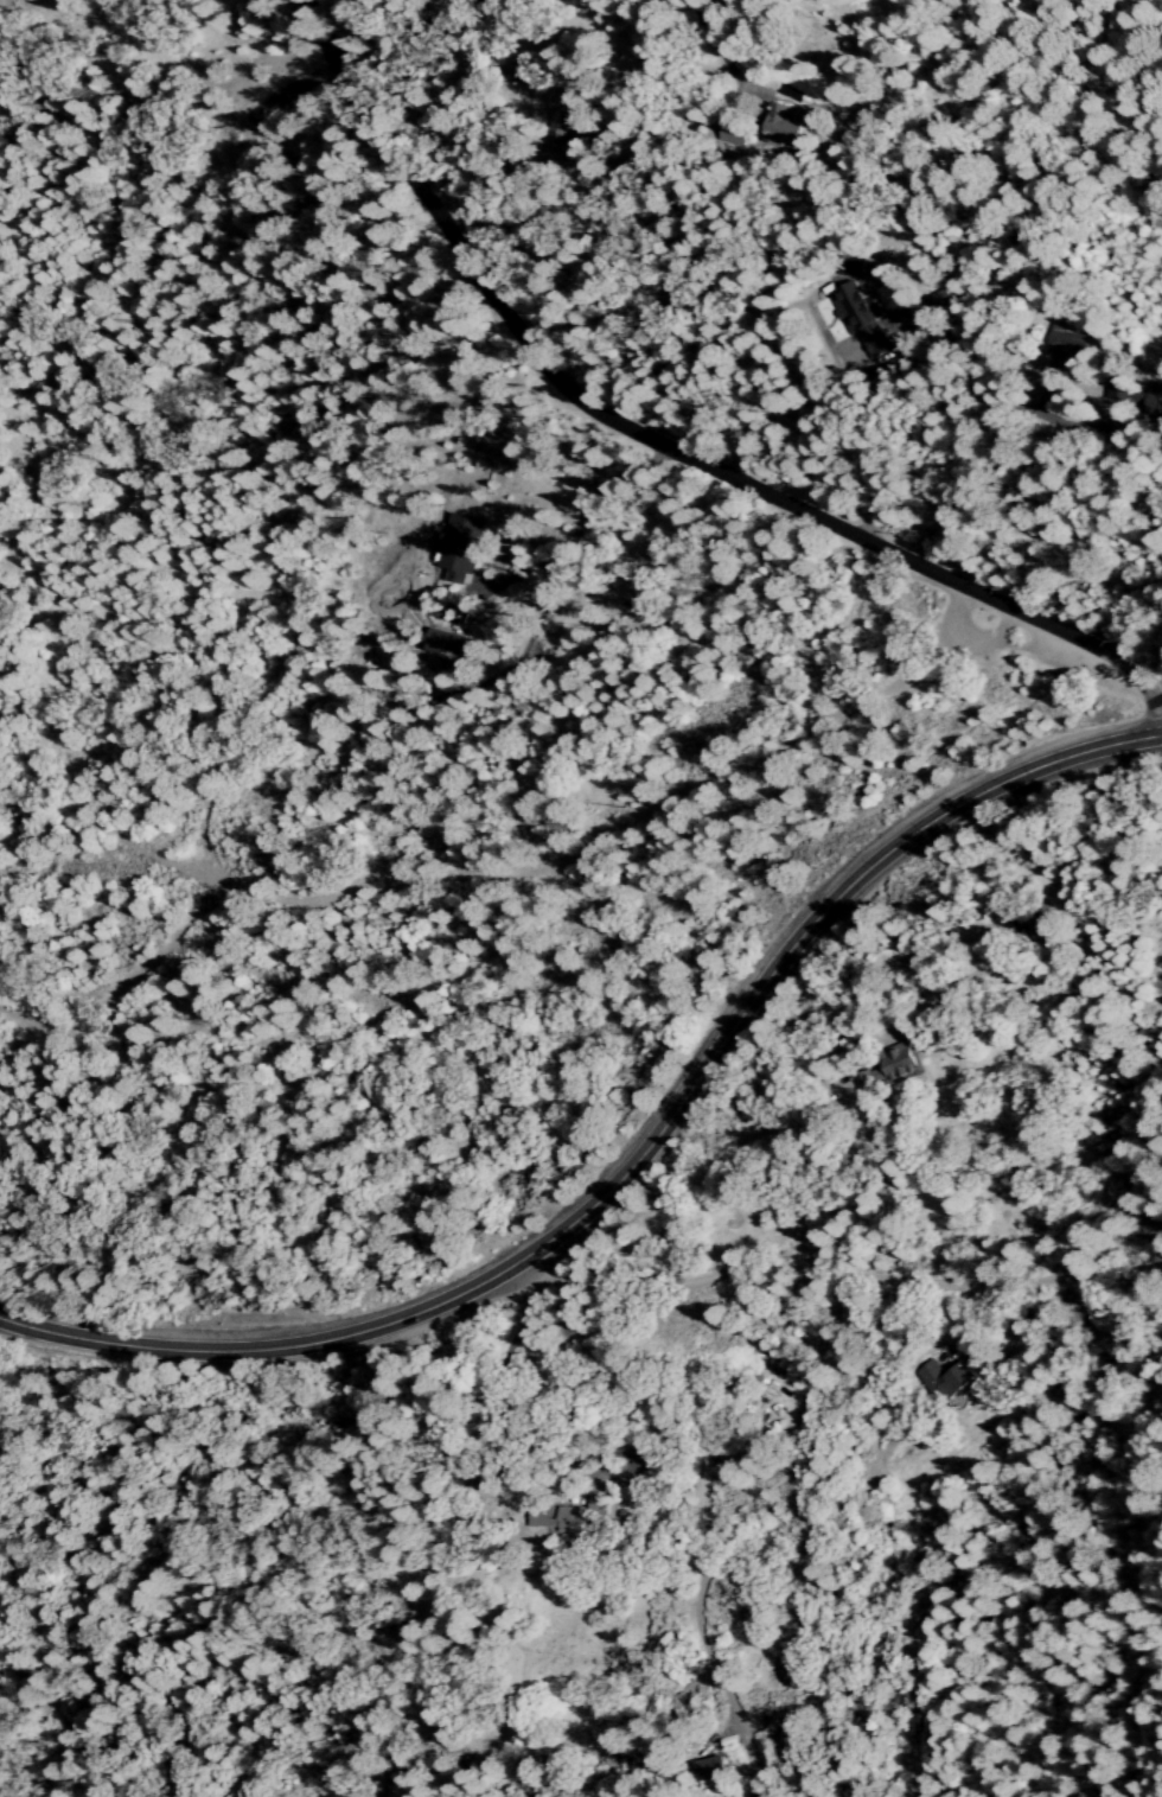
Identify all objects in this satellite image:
road: (360, 50)
road: (555, 50)
road: (727, 55)
road: (466, 77)
building: (568, 114)
building: (788, 125)
building: (732, 133)
building: (932, 307)
building: (861, 318)
building: (1072, 342)
building: (1135, 396)
road: (786, 406)
road: (985, 425)
road: (653, 442)
road: (576, 536)
building: (459, 548)
road: (243, 695)
road: (524, 868)
building: (896, 1065)
road: (596, 1083)
road: (638, 1156)
road: (836, 1268)
road: (53, 1282)
building: (945, 1379)
building: (717, 1772)

